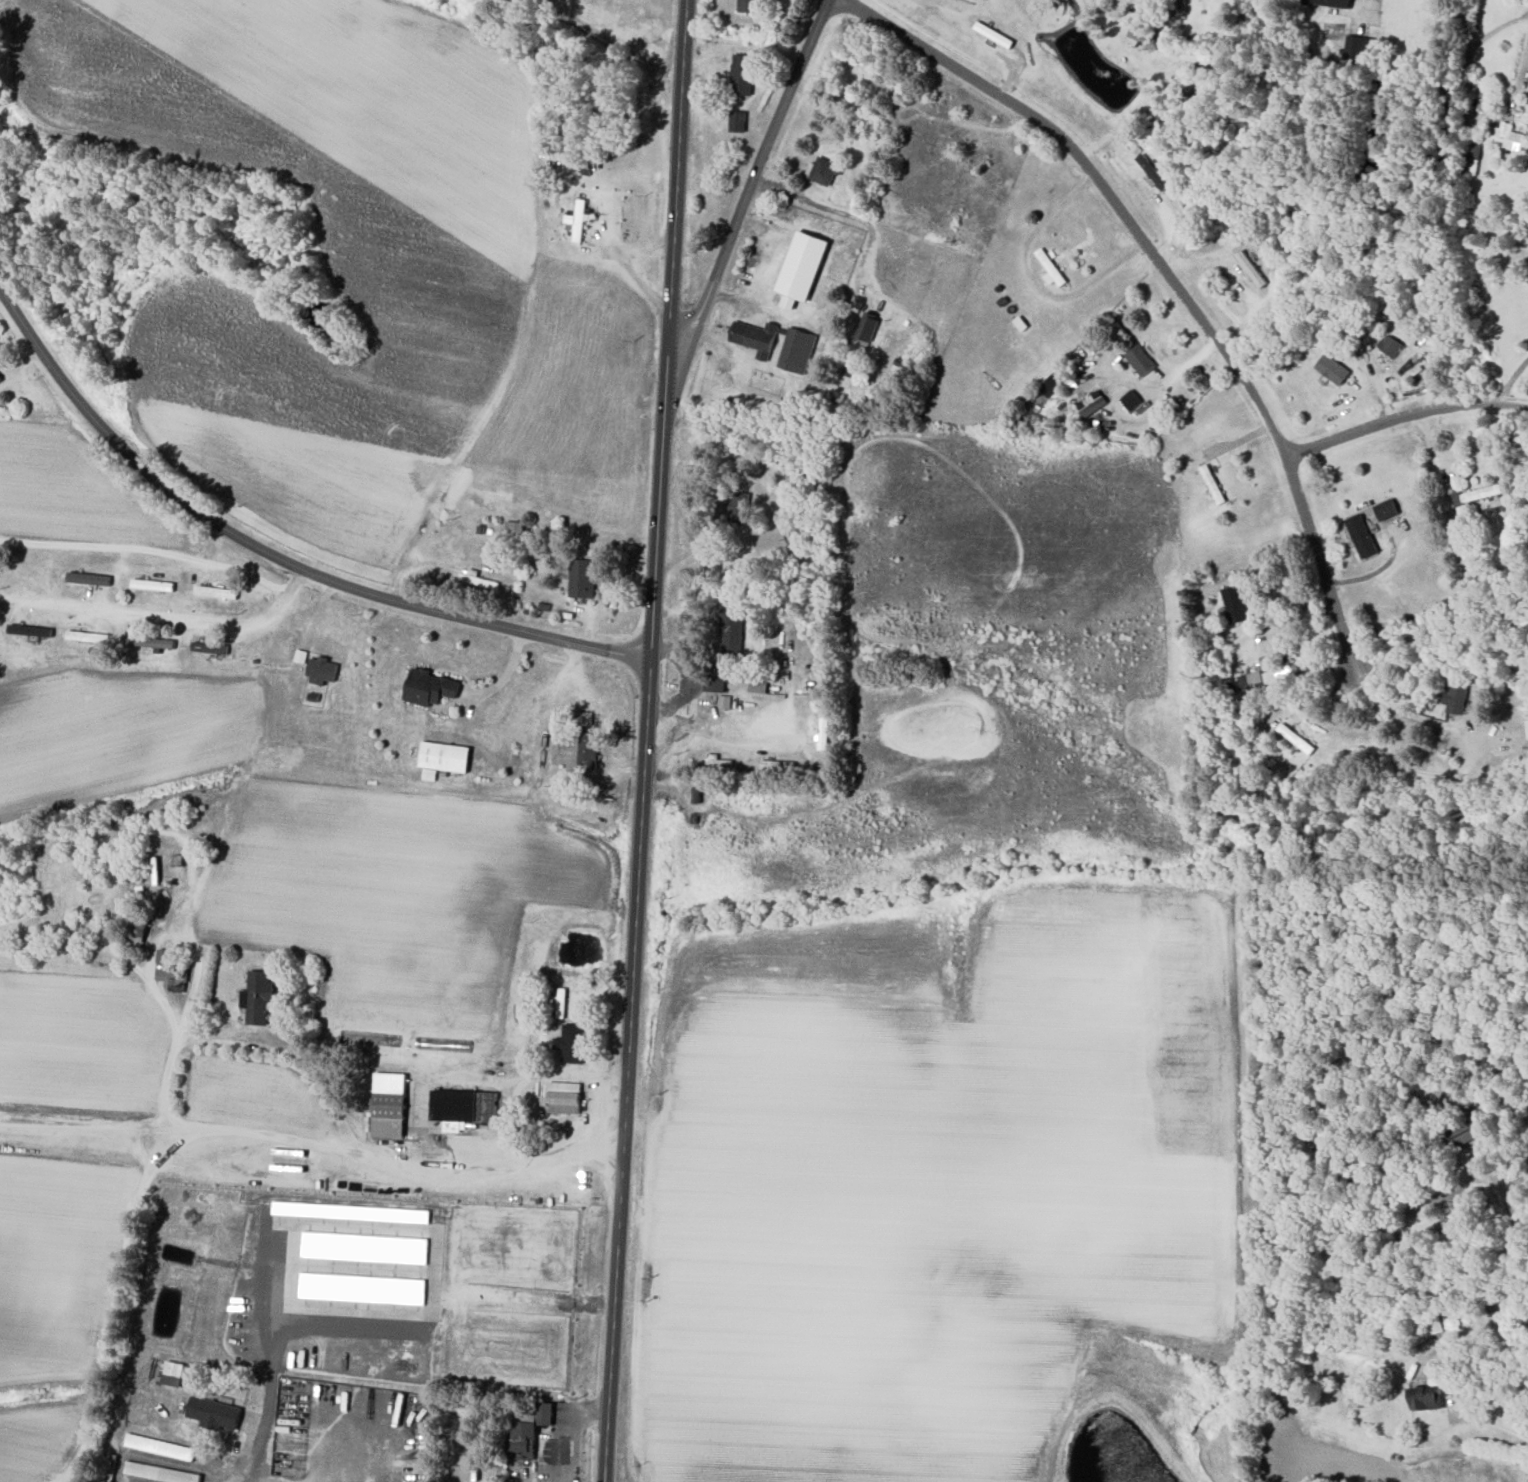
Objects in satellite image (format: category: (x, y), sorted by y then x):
building: (1331, 3)
building: (748, 5)
building: (1141, 33)
building: (1358, 49)
building: (742, 74)
road: (1521, 76)
building: (738, 121)
building: (1504, 136)
building: (1472, 158)
building: (823, 171)
building: (1153, 172)
road: (677, 192)
road: (748, 192)
road: (843, 213)
building: (577, 221)
building: (1051, 269)
building: (1252, 269)
road: (1170, 277)
road: (1032, 280)
building: (868, 327)
building: (755, 337)
building: (1391, 345)
building: (797, 350)
building: (1141, 360)
building: (1333, 369)
road: (1511, 378)
building: (0, 380)
building: (1132, 400)
building: (1092, 403)
road: (1404, 415)
building: (1478, 494)
building: (1387, 509)
building: (1362, 536)
road: (145, 550)
road: (273, 557)
building: (88, 578)
building: (582, 578)
road: (280, 597)
building: (1237, 605)
road: (132, 616)
building: (30, 630)
building: (732, 631)
building: (150, 642)
road: (685, 666)
building: (322, 671)
building: (1283, 674)
building: (1262, 678)
building: (718, 679)
building: (759, 687)
building: (430, 688)
building: (1457, 699)
road: (1398, 708)
road: (683, 727)
building: (1527, 729)
road: (738, 736)
building: (588, 751)
building: (445, 756)
building: (718, 761)
building: (778, 766)
road: (633, 932)
road: (173, 936)
building: (258, 996)
building: (559, 1002)
building: (572, 1043)
road: (294, 1049)
road: (481, 1078)
building: (389, 1104)
building: (465, 1105)
road: (560, 1121)
road: (598, 1123)
road: (508, 1125)
building: (1462, 1132)
road: (313, 1139)
road: (123, 1259)
road: (269, 1369)
building: (1428, 1395)
building: (215, 1412)
building: (546, 1413)
road: (1495, 1420)
building: (523, 1440)
building: (159, 1446)
road: (157, 1457)
road: (319, 1470)
building: (158, 1472)
road: (125, 1480)

